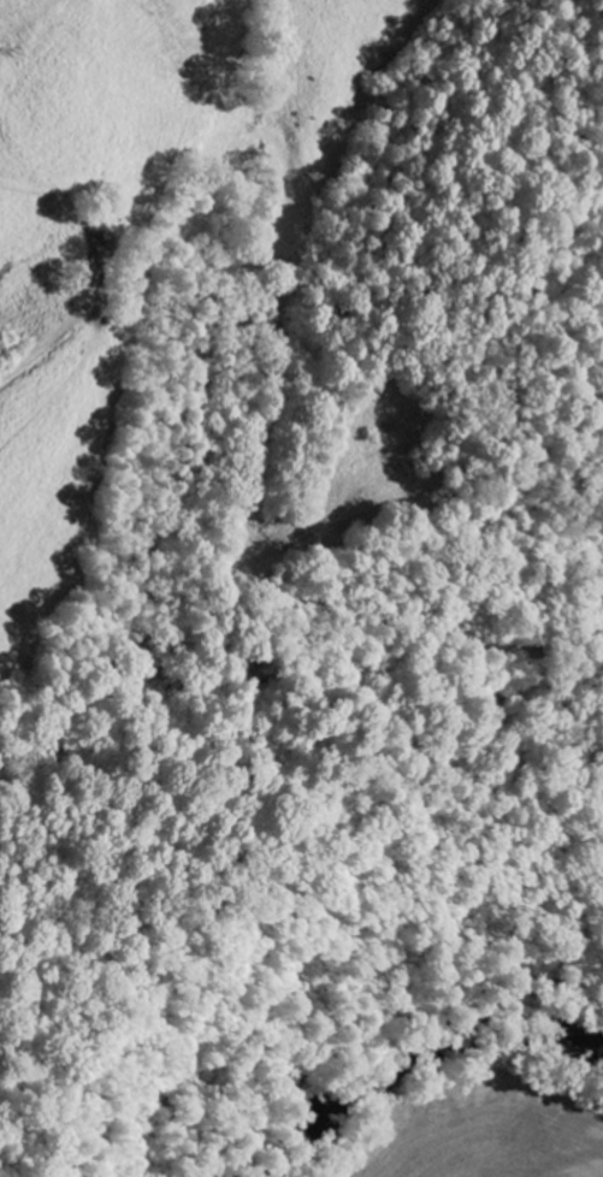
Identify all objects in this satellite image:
river: (426, 1054)

